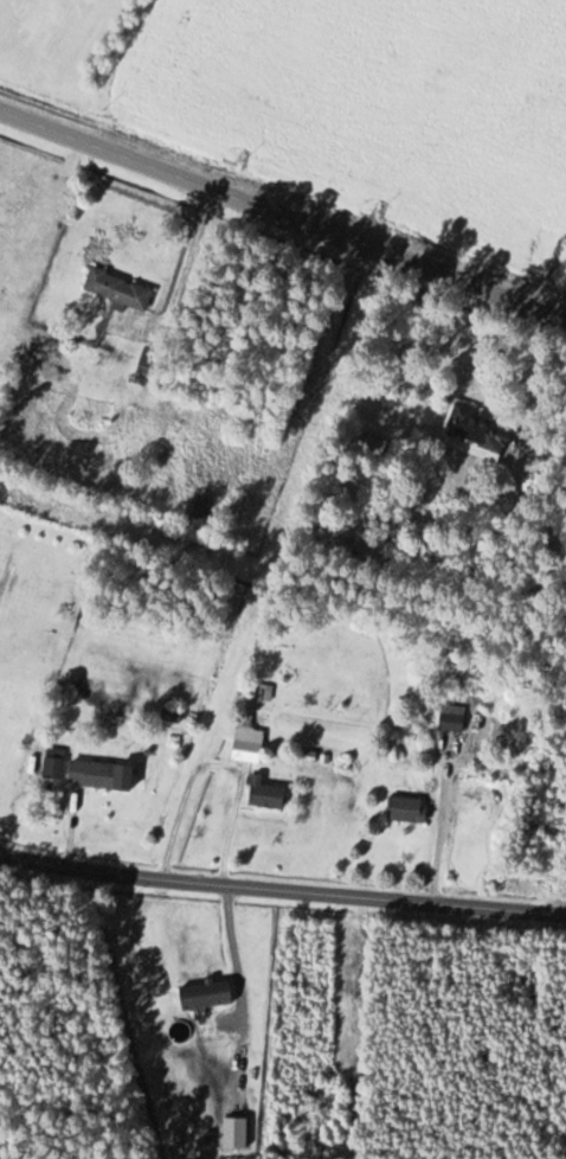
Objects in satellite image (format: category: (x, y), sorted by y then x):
road: (283, 213)
building: (118, 289)
building: (144, 379)
building: (478, 429)
building: (374, 443)
road: (547, 446)
building: (452, 718)
building: (247, 743)
building: (85, 770)
building: (264, 792)
building: (406, 808)
road: (282, 886)
building: (205, 993)

